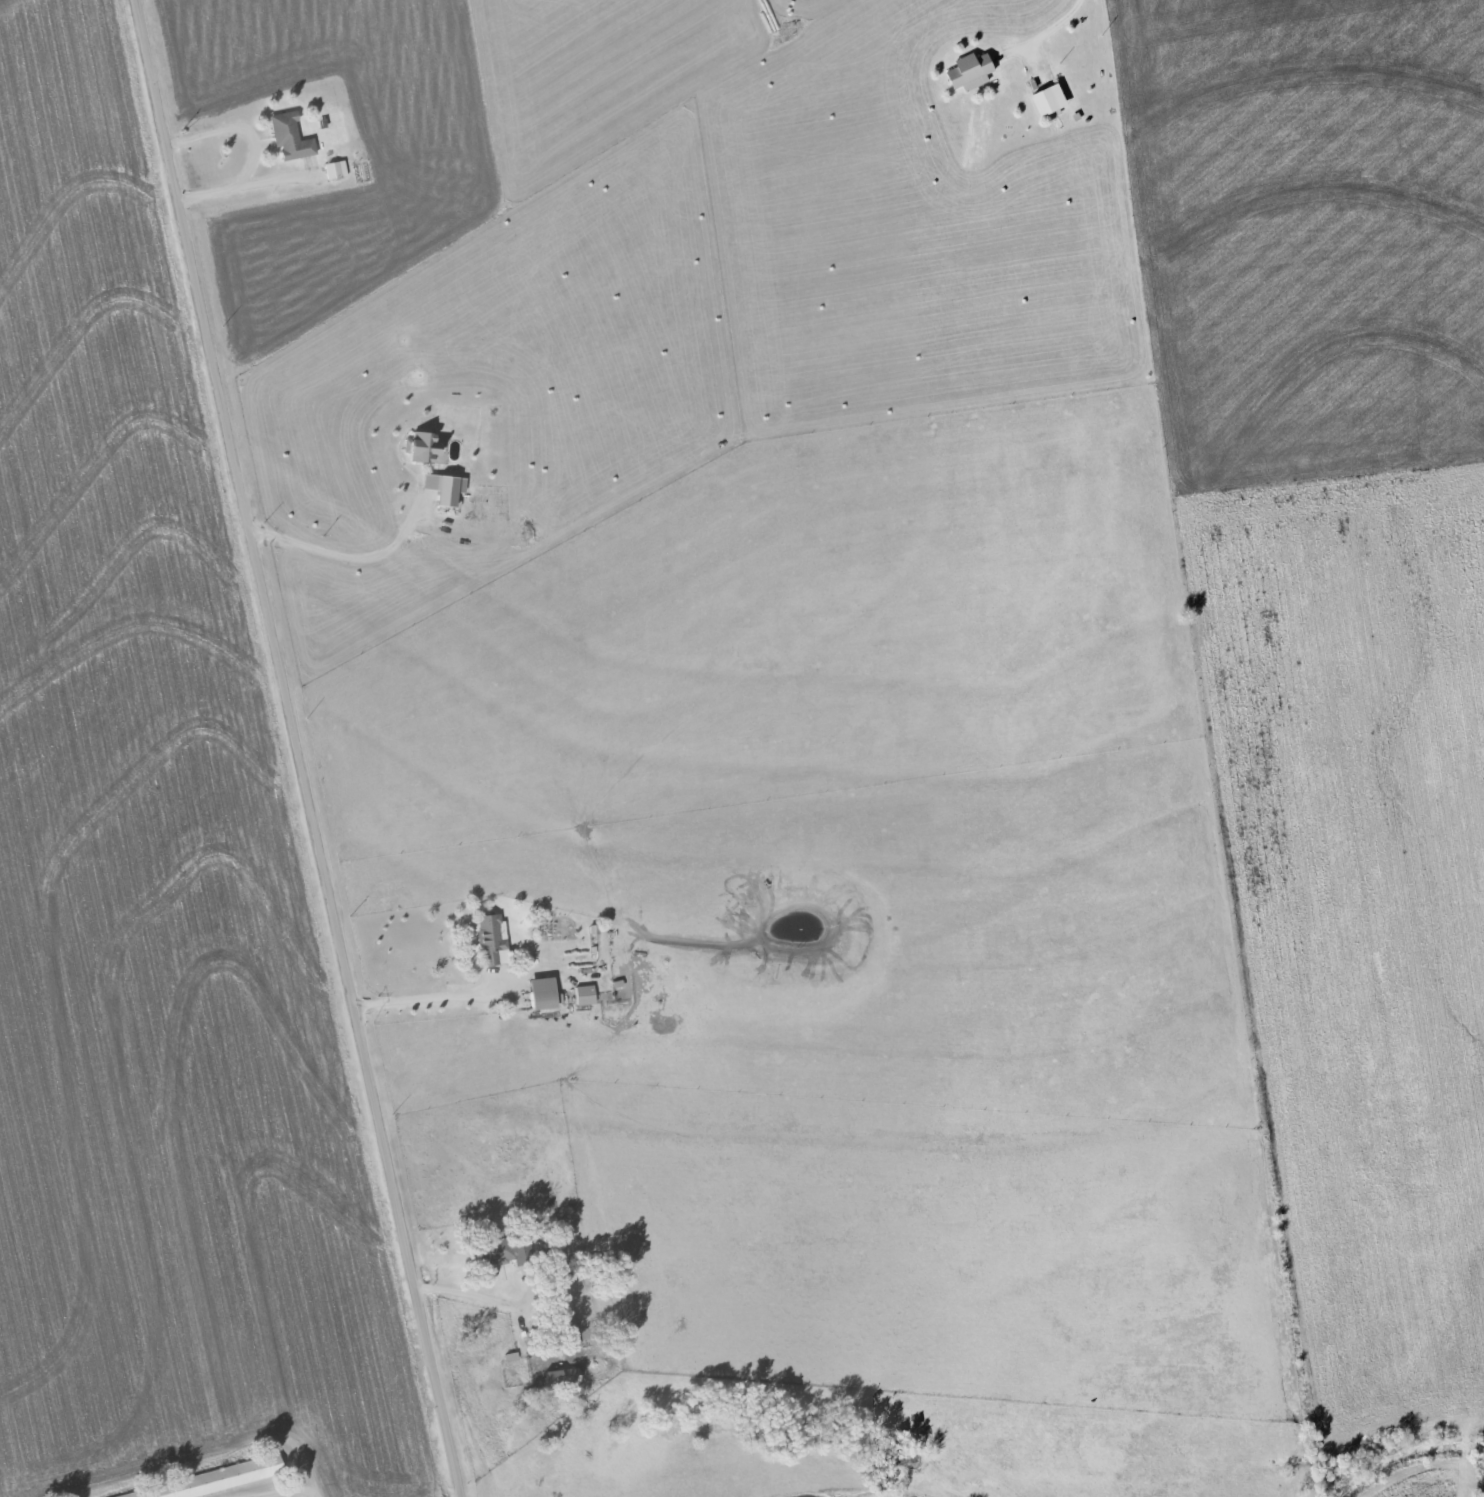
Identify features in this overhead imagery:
road: (1048, 28)
building: (971, 71)
building: (1052, 100)
building: (289, 137)
road: (252, 149)
building: (334, 170)
building: (421, 448)
building: (444, 489)
road: (353, 571)
road: (295, 748)
building: (491, 939)
building: (542, 993)
building: (584, 995)
road: (426, 1009)
building: (504, 1251)
road: (462, 1293)
building: (567, 1331)
building: (560, 1377)
building: (214, 1482)

